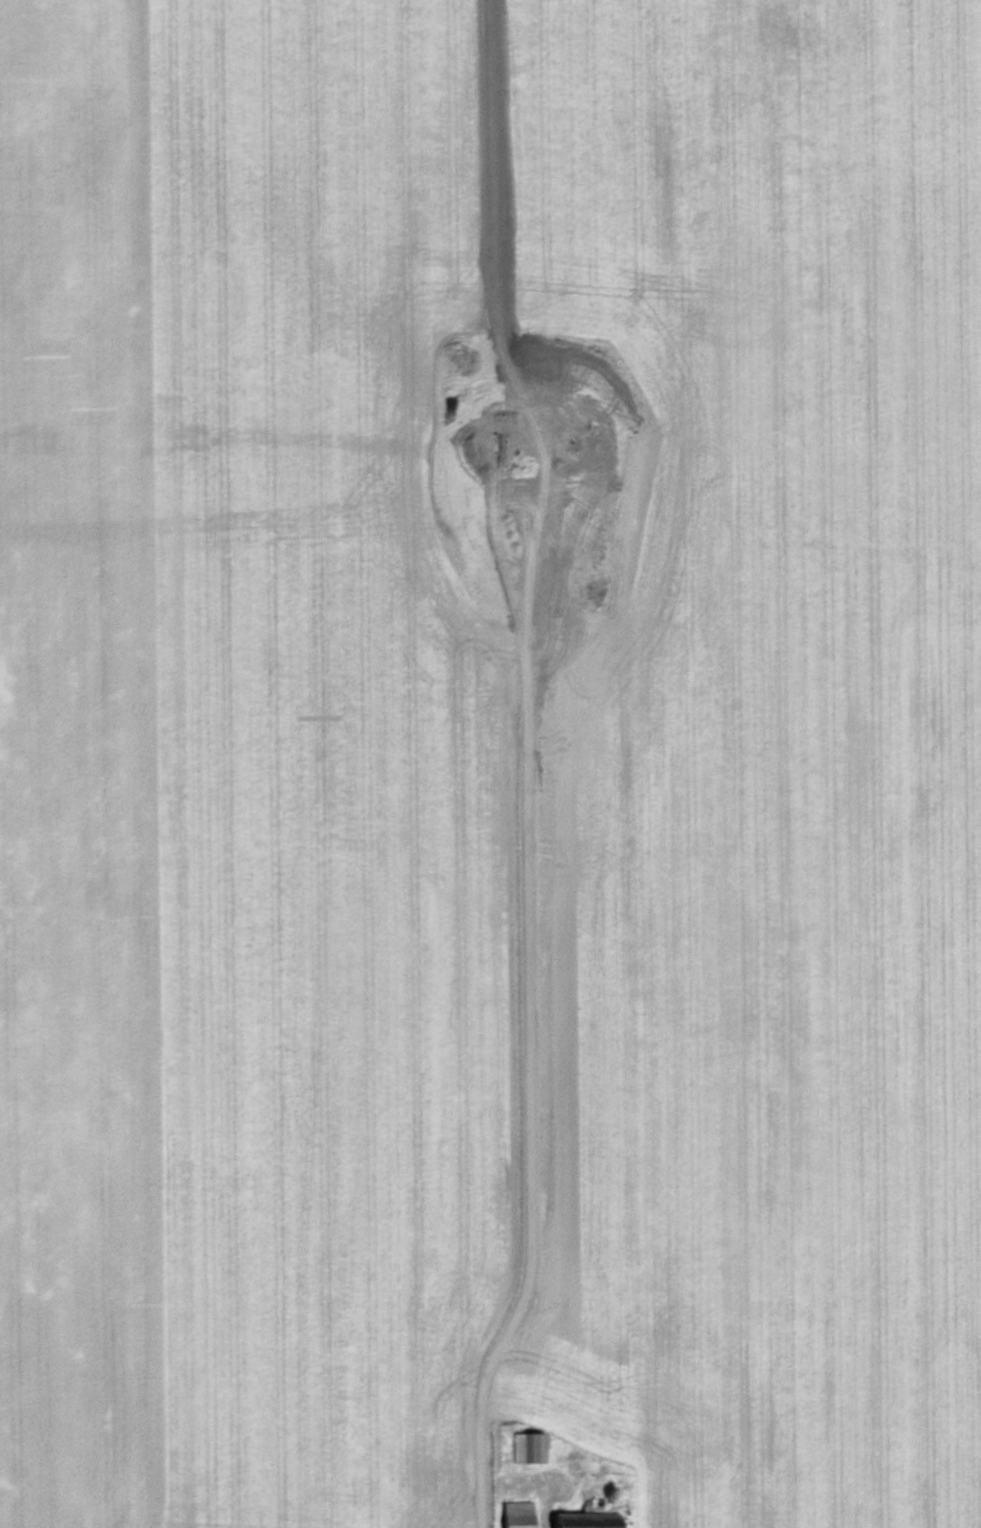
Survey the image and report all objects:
wind turbine: (543, 508)
building: (528, 1446)
building: (520, 1513)
building: (593, 1517)

